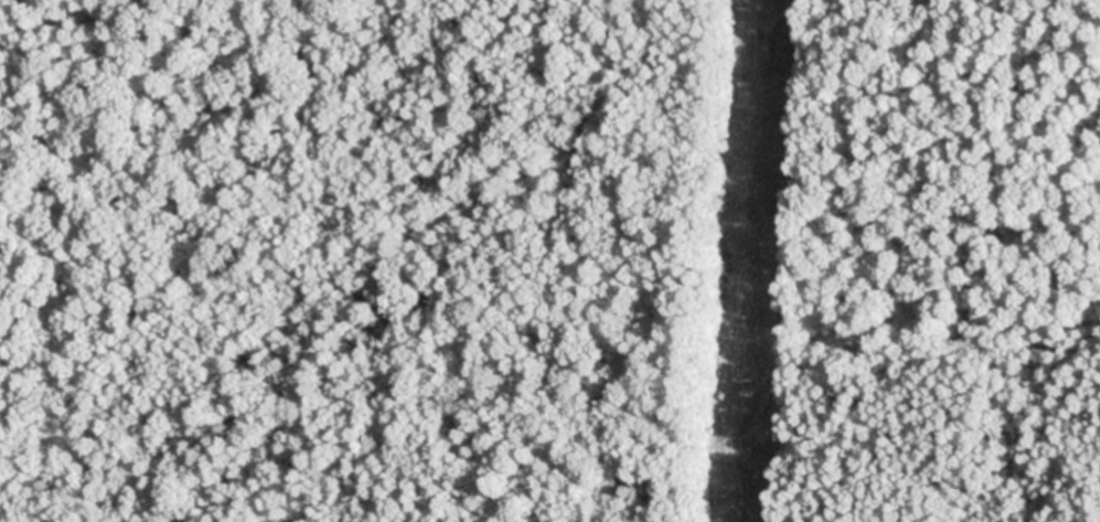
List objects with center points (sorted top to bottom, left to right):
power tower: (756, 380)

